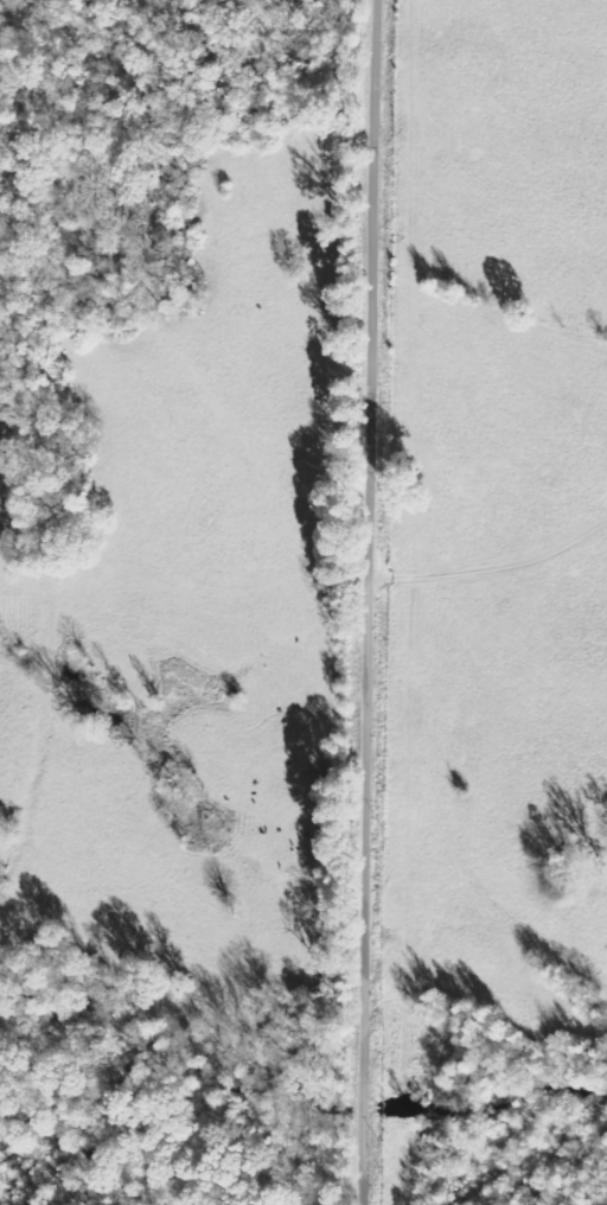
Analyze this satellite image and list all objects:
road: (66, 578)
road: (369, 602)

